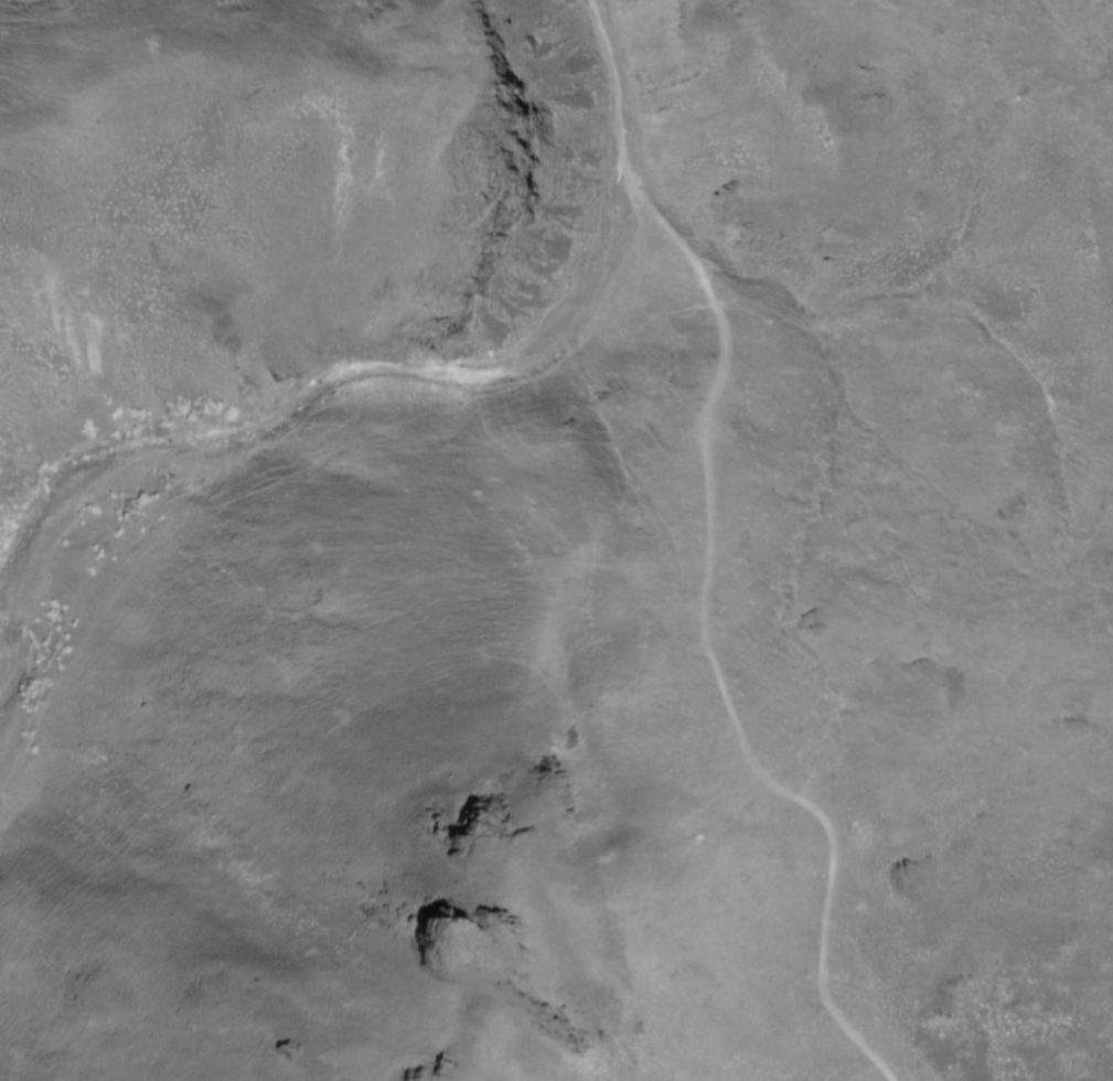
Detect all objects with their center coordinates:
road: (707, 558)

